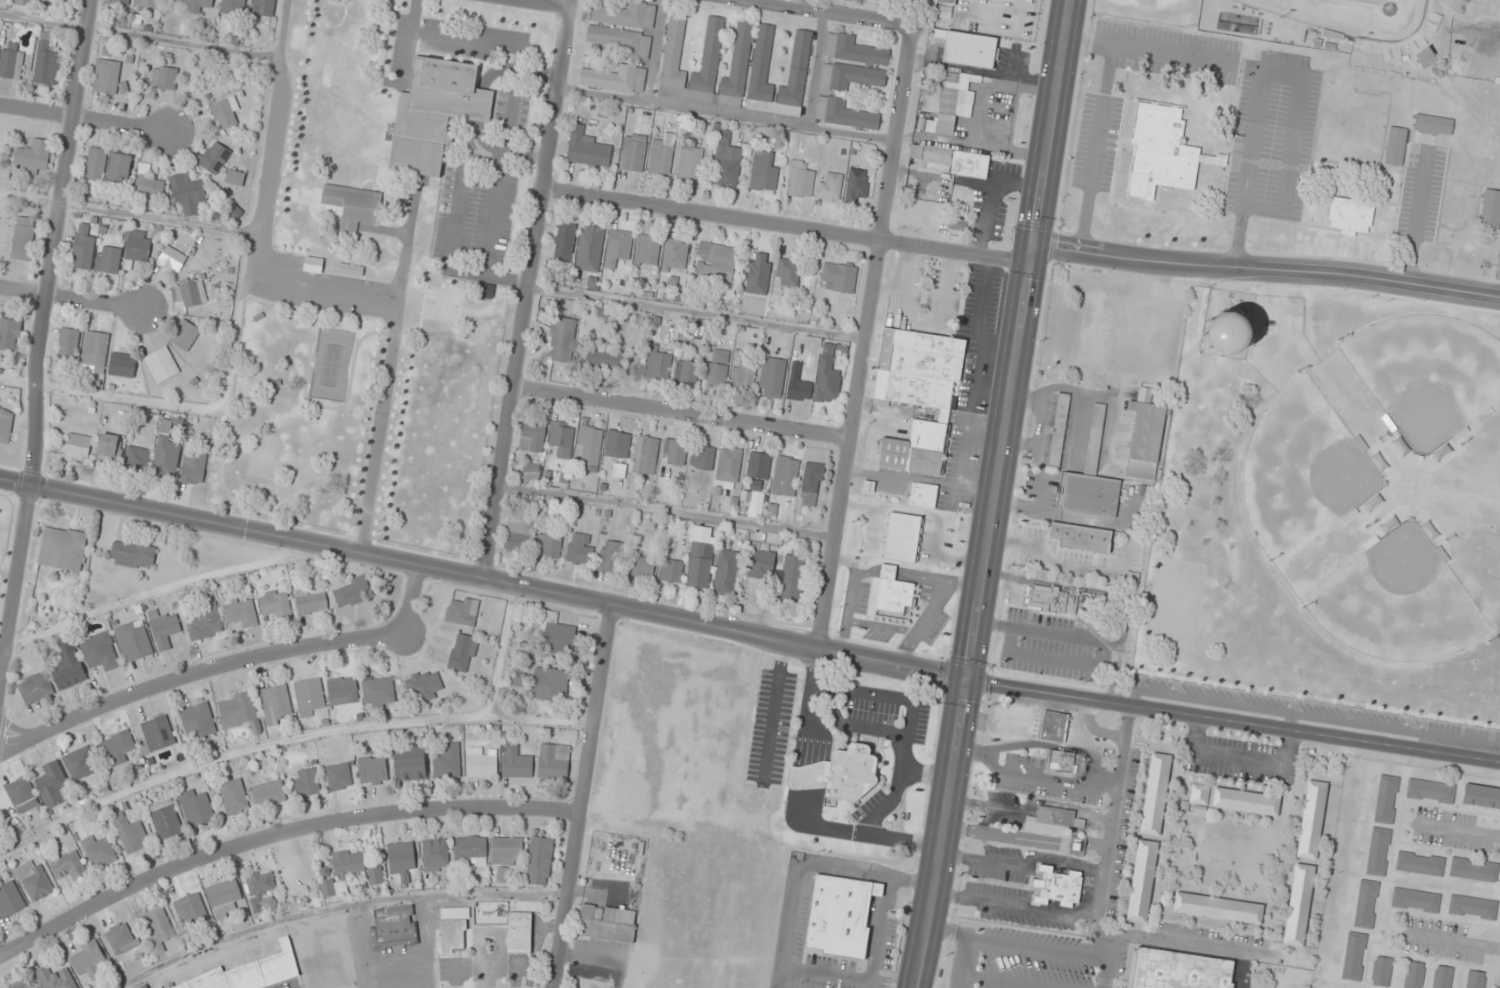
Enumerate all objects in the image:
building: (57, 1)
building: (947, 1)
building: (18, 2)
building: (121, 2)
building: (147, 3)
road: (546, 3)
road: (570, 3)
park: (1161, 4)
building: (197, 5)
building: (232, 6)
building: (262, 7)
road: (831, 12)
building: (624, 15)
park: (1357, 15)
building: (1432, 22)
road: (284, 27)
building: (622, 40)
building: (854, 50)
building: (970, 50)
road: (652, 51)
road: (1146, 54)
building: (1425, 56)
building: (761, 57)
building: (47, 58)
building: (11, 61)
building: (1299, 61)
building: (705, 63)
road: (815, 69)
road: (1270, 71)
building: (107, 76)
building: (850, 76)
building: (164, 77)
building: (615, 78)
building: (1336, 91)
building: (947, 102)
building: (435, 112)
building: (844, 113)
building: (223, 114)
road: (726, 114)
building: (1494, 116)
road: (85, 120)
building: (1432, 125)
building: (1329, 136)
building: (1367, 136)
building: (1395, 145)
building: (587, 148)
building: (1160, 150)
road: (1095, 151)
building: (633, 153)
building: (33, 155)
building: (662, 155)
building: (214, 157)
building: (690, 159)
building: (727, 161)
building: (948, 161)
building: (96, 164)
building: (119, 167)
building: (763, 172)
building: (800, 180)
building: (857, 184)
building: (830, 186)
building: (150, 187)
building: (187, 193)
building: (352, 206)
building: (1490, 209)
road: (130, 213)
building: (1350, 215)
road: (1415, 217)
road: (261, 218)
building: (958, 224)
road: (787, 226)
road: (883, 231)
building: (23, 238)
road: (52, 241)
building: (564, 242)
building: (138, 246)
building: (618, 247)
building: (83, 248)
building: (590, 248)
building: (647, 250)
traffic signals: (1032, 253)
building: (675, 255)
building: (172, 256)
building: (716, 256)
building: (108, 259)
building: (314, 264)
building: (351, 268)
road: (1265, 270)
building: (787, 273)
building: (758, 274)
building: (840, 276)
building: (486, 291)
road: (525, 292)
building: (192, 293)
road: (69, 298)
road: (696, 313)
building: (1225, 333)
building: (10, 334)
building: (184, 334)
building: (562, 340)
building: (68, 344)
building: (95, 352)
building: (602, 357)
building: (659, 363)
building: (123, 364)
building: (162, 365)
building: (686, 371)
park: (1426, 371)
building: (715, 375)
building: (743, 376)
building: (771, 376)
building: (800, 390)
building: (918, 394)
road: (180, 406)
road: (681, 412)
park: (367, 415)
building: (5, 425)
building: (1058, 430)
building: (1145, 436)
building: (532, 437)
building: (562, 438)
building: (78, 446)
building: (617, 446)
building: (108, 448)
building: (167, 448)
building: (589, 448)
building: (674, 452)
building: (645, 454)
building: (702, 457)
building: (137, 458)
building: (729, 464)
building: (758, 465)
park: (1299, 467)
building: (193, 468)
building: (531, 471)
building: (785, 476)
park: (1315, 477)
building: (1090, 478)
building: (811, 484)
road: (996, 494)
building: (923, 495)
road: (666, 511)
road: (241, 528)
building: (518, 535)
building: (1081, 538)
road: (836, 543)
building: (549, 544)
building: (63, 548)
building: (579, 548)
building: (132, 555)
building: (609, 556)
building: (700, 557)
building: (643, 567)
building: (1447, 568)
building: (670, 570)
building: (726, 573)
building: (779, 573)
road: (14, 581)
road: (155, 591)
road: (549, 591)
building: (350, 592)
building: (893, 595)
park: (1395, 598)
building: (1051, 600)
building: (310, 602)
building: (275, 604)
building: (241, 612)
building: (462, 612)
building: (205, 623)
building: (163, 628)
building: (555, 635)
building: (133, 641)
road: (499, 649)
building: (99, 651)
building: (462, 652)
building: (68, 664)
road: (230, 666)
traffic signals: (969, 682)
building: (423, 685)
building: (549, 685)
building: (35, 688)
building: (342, 691)
building: (378, 693)
road: (1055, 695)
building: (309, 697)
building: (275, 704)
building: (239, 712)
building: (1003, 719)
building: (197, 721)
building: (1054, 726)
building: (157, 733)
road: (288, 739)
building: (118, 746)
building: (447, 761)
building: (553, 761)
building: (1061, 761)
building: (516, 762)
building: (79, 763)
building: (409, 764)
building: (482, 764)
building: (373, 770)
building: (840, 773)
building: (339, 776)
building: (306, 782)
building: (52, 784)
building: (1430, 791)
building: (269, 793)
building: (1199, 793)
building: (21, 794)
building: (1155, 794)
road: (584, 796)
building: (1481, 796)
building: (233, 797)
building: (1386, 799)
building: (1245, 801)
building: (1184, 805)
building: (196, 808)
building: (1200, 809)
building: (164, 819)
building: (1311, 819)
building: (1052, 821)
building: (129, 832)
road: (279, 836)
building: (1076, 845)
building: (471, 849)
building: (99, 851)
building: (506, 851)
building: (1378, 851)
building: (435, 855)
building: (401, 859)
building: (539, 861)
building: (1420, 863)
building: (68, 864)
building: (356, 866)
building: (1473, 869)
building: (33, 880)
building: (1142, 881)
building: (260, 883)
building: (1056, 886)
building: (334, 888)
building: (224, 898)
building: (10, 900)
building: (1415, 900)
building: (1366, 904)
building: (1298, 905)
road: (333, 906)
building: (1472, 907)
building: (1218, 908)
building: (190, 910)
building: (840, 916)
building: (607, 923)
building: (157, 928)
building: (395, 928)
building: (454, 930)
building: (519, 933)
building: (120, 938)
building: (1354, 956)
building: (87, 959)
building: (1179, 970)
building: (1381, 971)
building: (1413, 974)
building: (1442, 977)
building: (57, 978)
building: (1475, 979)
building: (20, 984)

